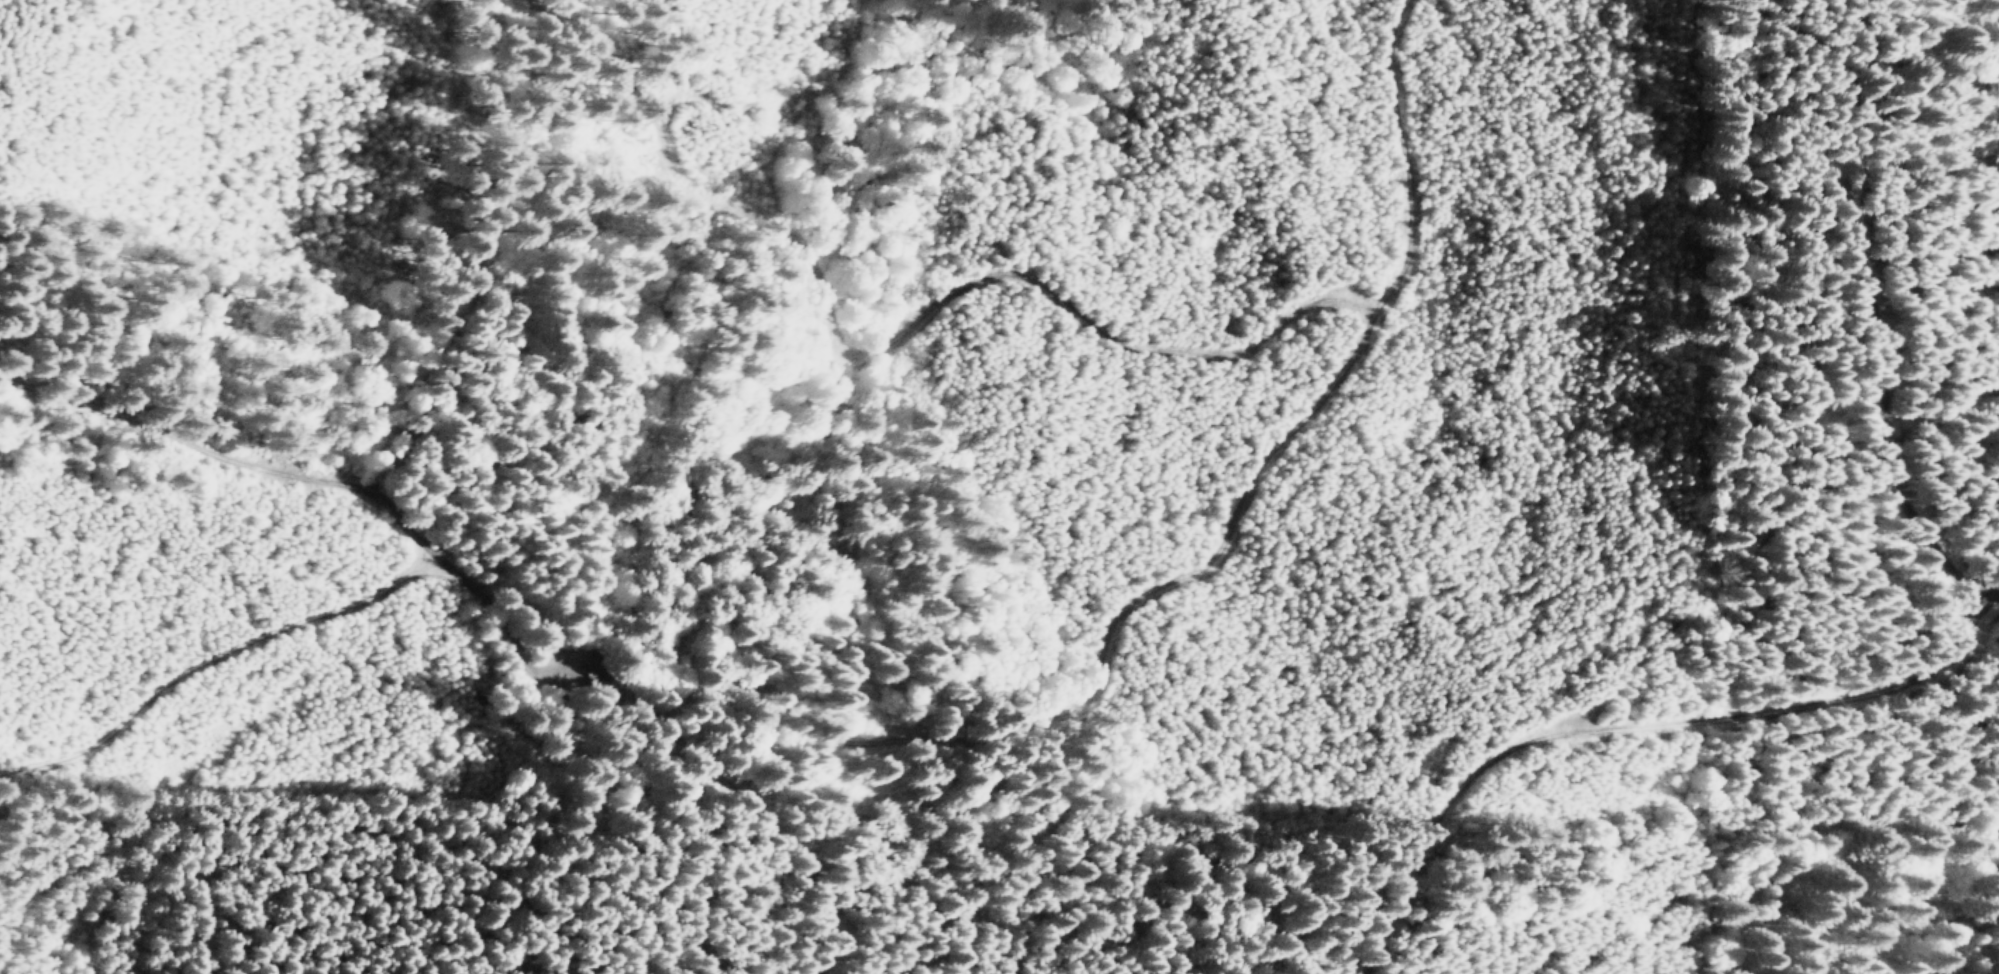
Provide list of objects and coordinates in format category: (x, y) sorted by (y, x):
road: (1029, 288)
road: (406, 530)
road: (1203, 670)
road: (213, 694)
road: (41, 773)
road: (742, 861)
road: (1460, 967)

